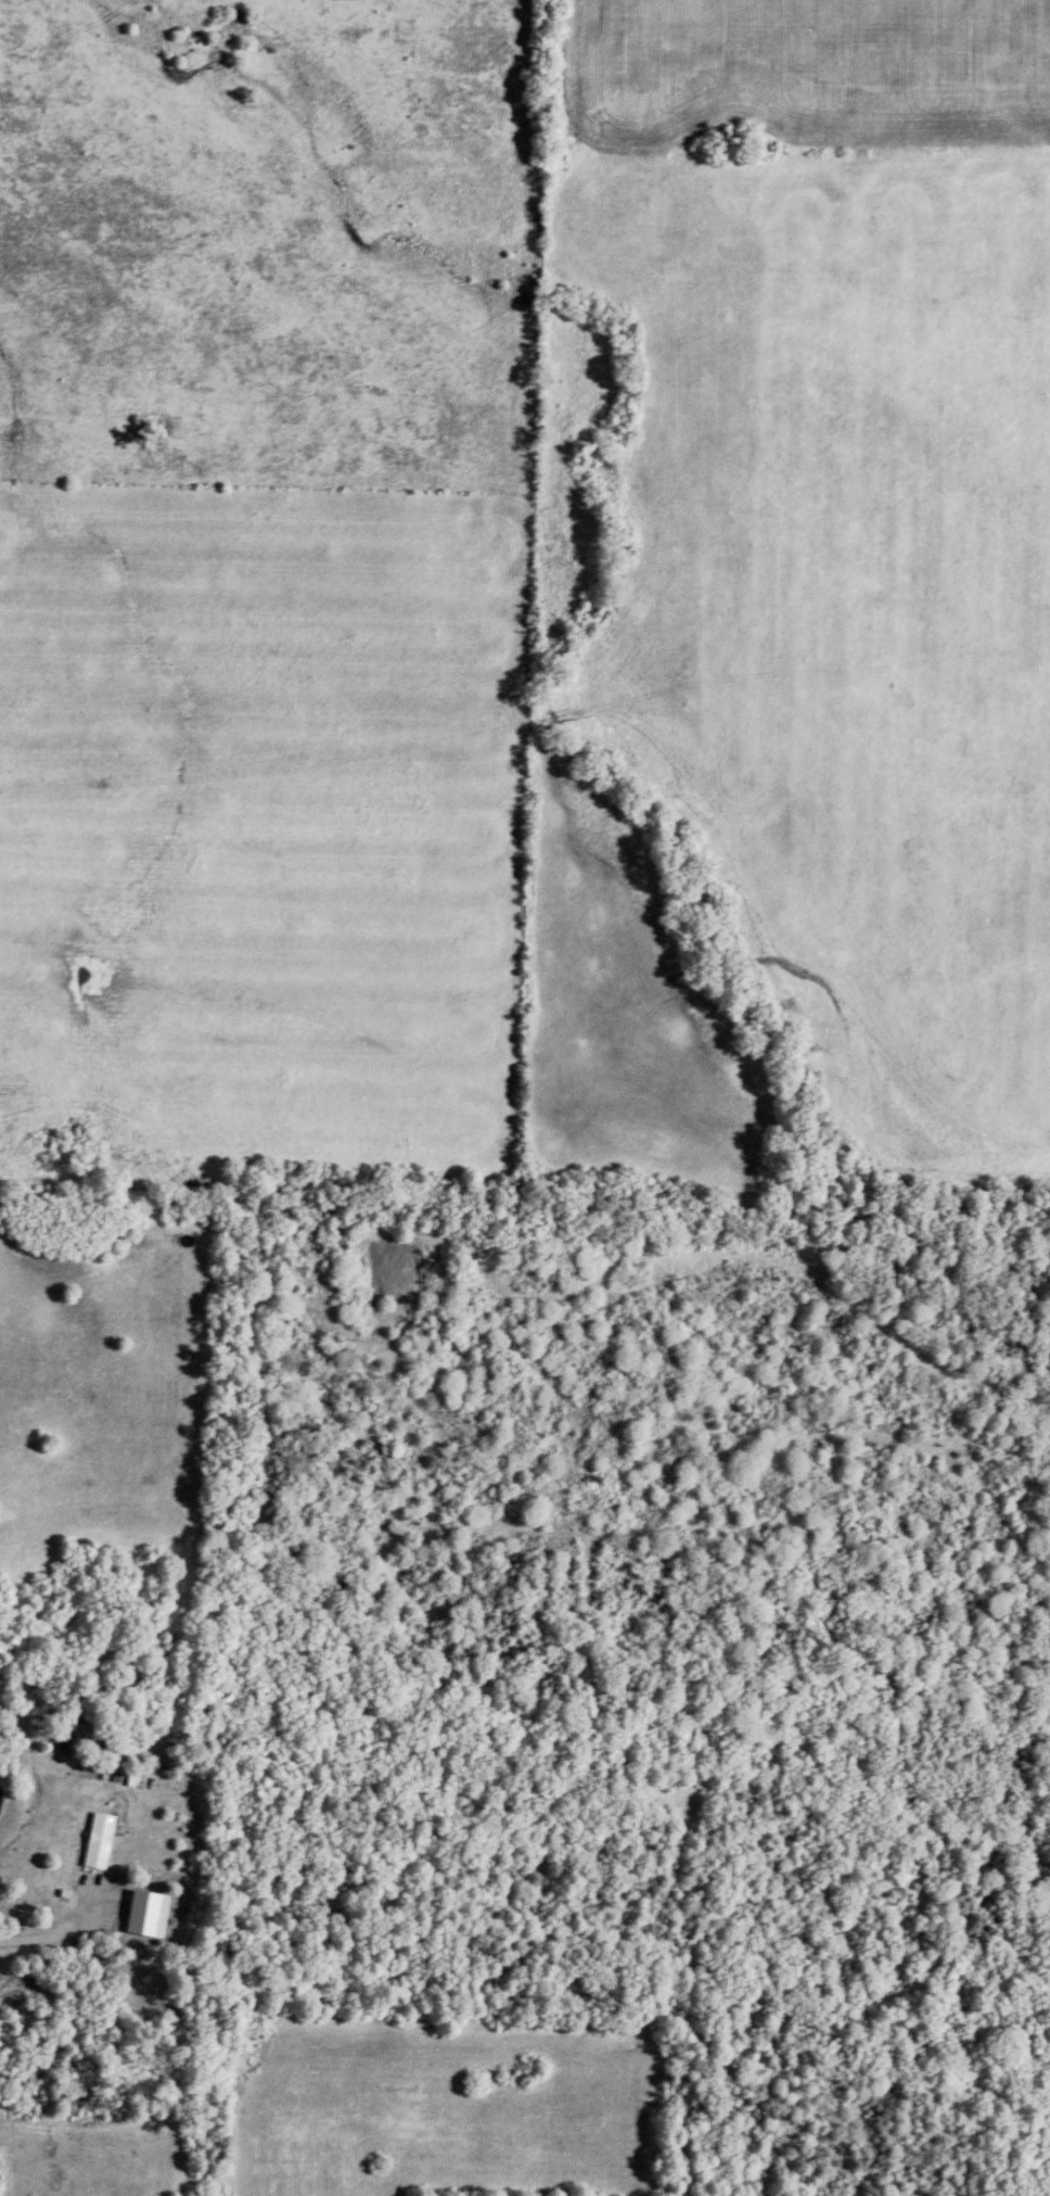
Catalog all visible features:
building: (95, 1842)
road: (76, 1935)

